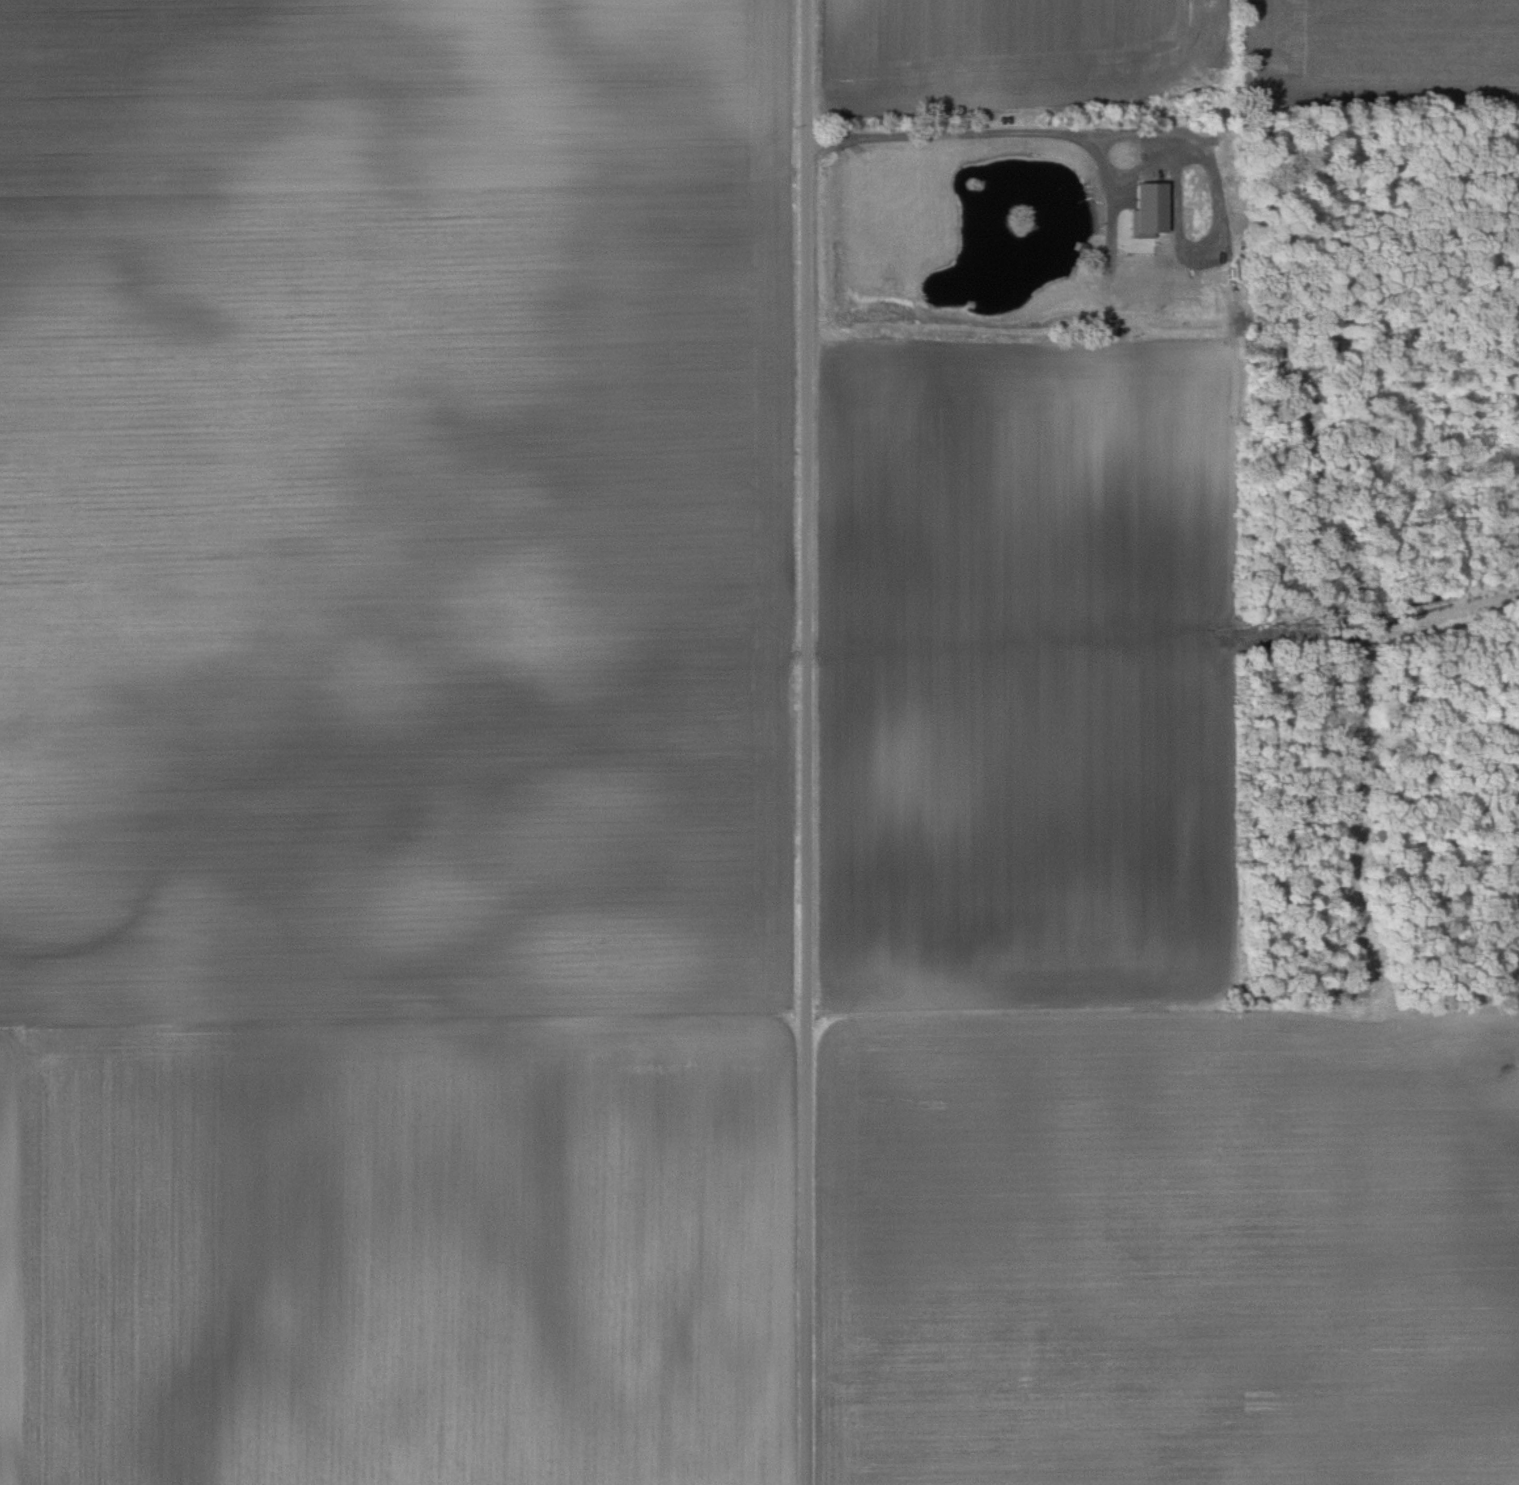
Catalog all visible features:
road: (980, 133)
building: (1149, 208)
road: (809, 742)

